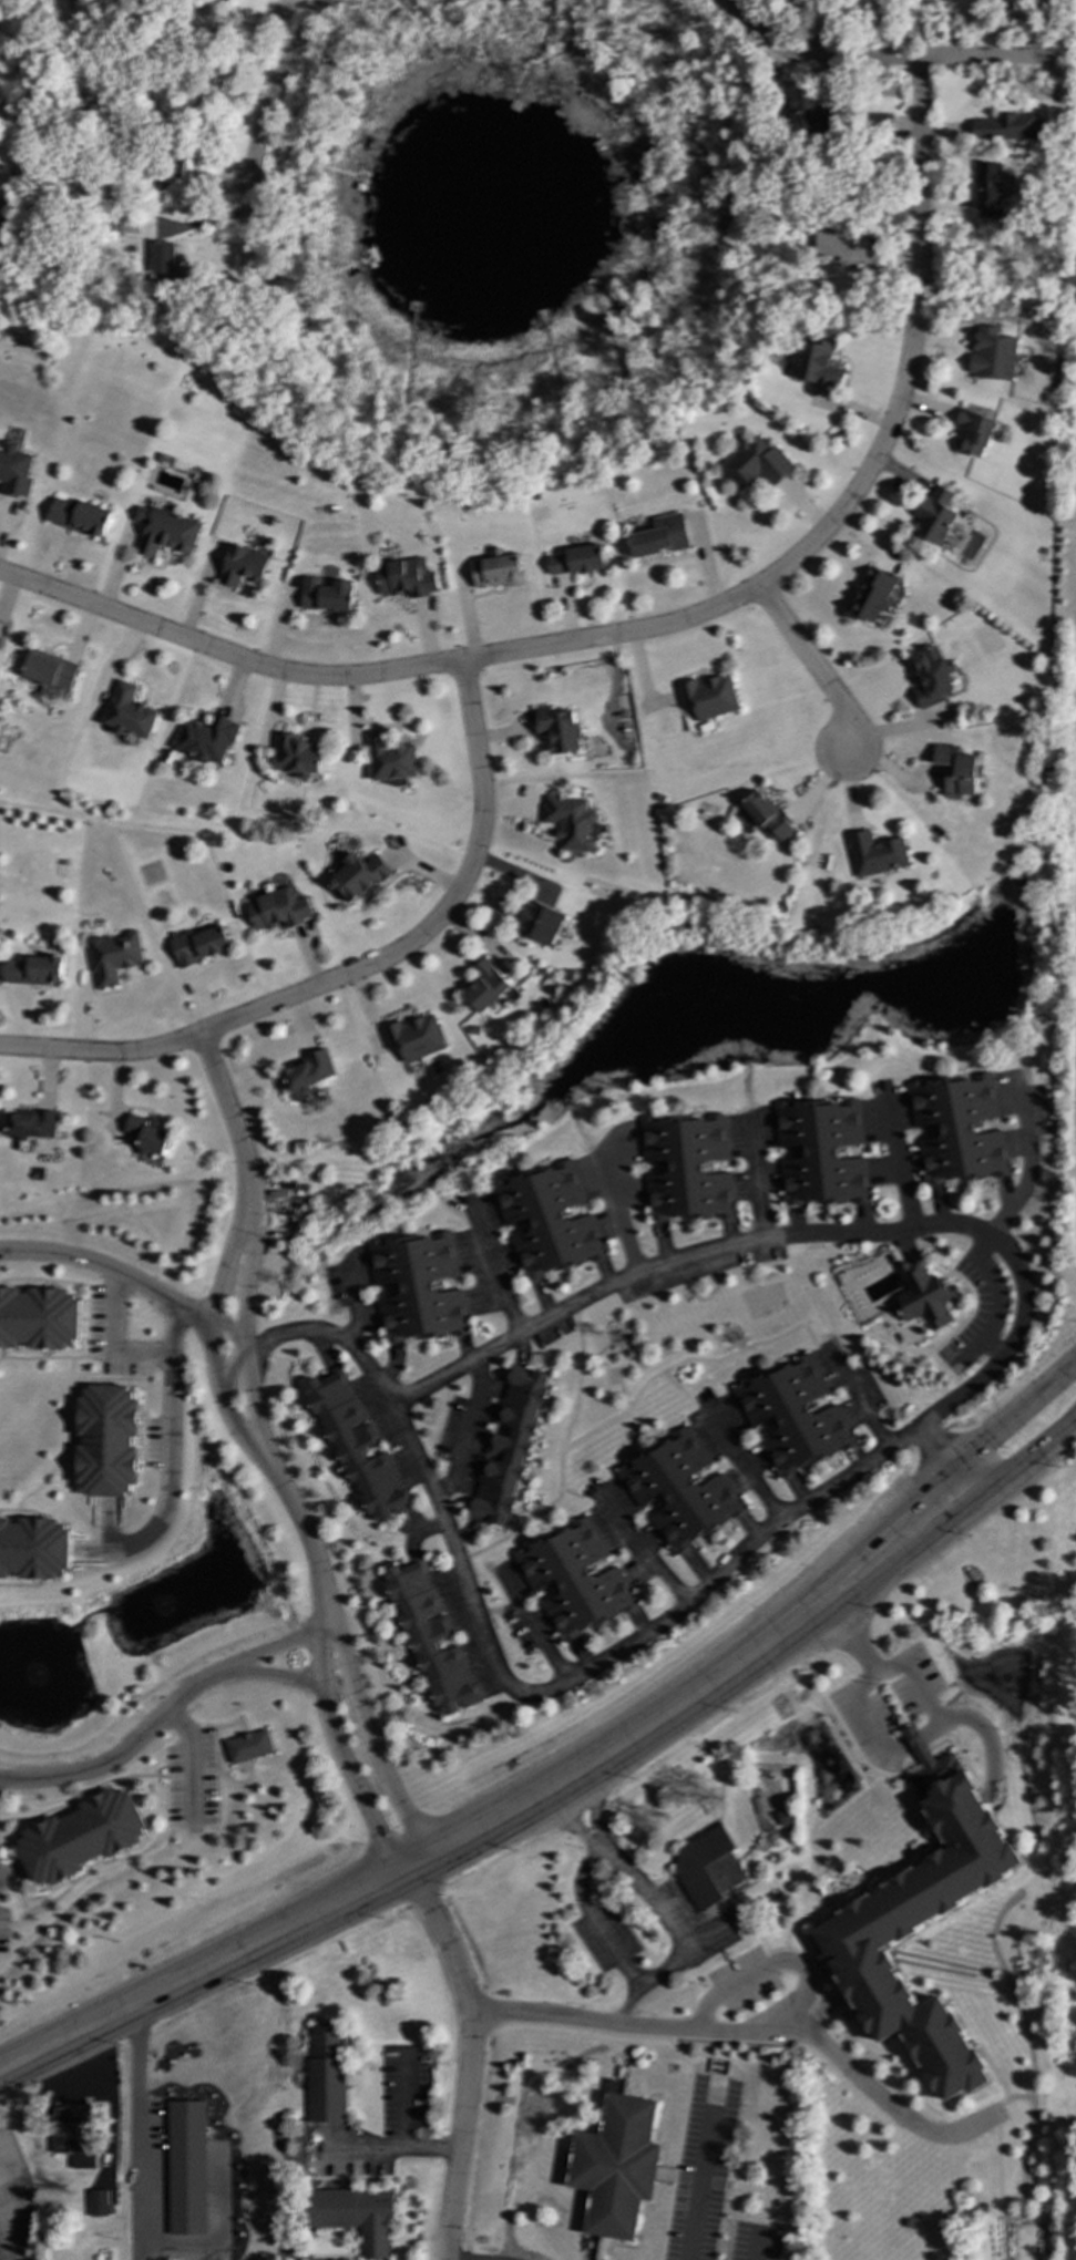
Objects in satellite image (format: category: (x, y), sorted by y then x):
building: (224, 0)
road: (996, 29)
road: (822, 30)
road: (922, 30)
road: (881, 31)
road: (1065, 53)
road: (877, 62)
road: (269, 106)
building: (1058, 106)
building: (808, 117)
building: (879, 121)
building: (1010, 131)
road: (922, 173)
building: (166, 174)
building: (985, 186)
building: (840, 245)
building: (162, 258)
road: (920, 302)
building: (992, 355)
building: (814, 362)
building: (974, 432)
building: (754, 463)
building: (13, 471)
road: (867, 472)
building: (934, 515)
building: (79, 516)
building: (164, 532)
building: (659, 536)
building: (574, 562)
building: (242, 566)
building: (495, 569)
building: (406, 577)
building: (326, 595)
building: (873, 595)
building: (0, 638)
road: (811, 666)
building: (49, 670)
road: (375, 676)
building: (932, 678)
building: (708, 697)
building: (127, 712)
building: (557, 730)
building: (206, 739)
building: (295, 756)
building: (389, 759)
building: (957, 770)
building: (766, 816)
building: (571, 822)
building: (875, 854)
building: (358, 875)
building: (277, 910)
building: (537, 922)
building: (197, 945)
building: (112, 957)
building: (32, 970)
road: (355, 973)
building: (485, 986)
building: (413, 1038)
building: (308, 1075)
building: (30, 1124)
road: (234, 1126)
building: (957, 1129)
building: (145, 1136)
building: (820, 1152)
road: (1051, 1163)
building: (686, 1168)
road: (900, 1171)
road: (1024, 1175)
road: (756, 1189)
road: (619, 1219)
building: (549, 1221)
road: (792, 1239)
road: (496, 1277)
road: (130, 1285)
building: (418, 1287)
building: (922, 1296)
road: (995, 1299)
road: (353, 1309)
building: (38, 1319)
road: (309, 1333)
road: (113, 1339)
road: (247, 1349)
road: (215, 1353)
road: (861, 1408)
road: (1016, 1411)
building: (792, 1416)
road: (467, 1431)
building: (105, 1441)
building: (356, 1445)
building: (509, 1445)
road: (1029, 1451)
road: (940, 1457)
road: (171, 1460)
road: (747, 1472)
building: (680, 1490)
road: (307, 1538)
building: (33, 1548)
road: (648, 1554)
building: (574, 1580)
building: (430, 1636)
road: (534, 1636)
road: (268, 1653)
road: (595, 1667)
road: (878, 1671)
road: (270, 1678)
road: (865, 1716)
road: (982, 1736)
road: (368, 1739)
building: (248, 1746)
road: (336, 1747)
road: (123, 1754)
road: (191, 1761)
road: (511, 1809)
building: (80, 1837)
building: (706, 1868)
road: (622, 1869)
road: (596, 1920)
building: (919, 1923)
road: (761, 1968)
road: (660, 1972)
road: (805, 2017)
road: (752, 2035)
road: (469, 2056)
building: (325, 2074)
road: (400, 2099)
road: (135, 2131)
building: (73, 2134)
road: (388, 2148)
road: (1, 2157)
building: (614, 2166)
building: (186, 2168)
road: (699, 2174)
building: (98, 2203)
building: (352, 2216)
road: (755, 2247)

